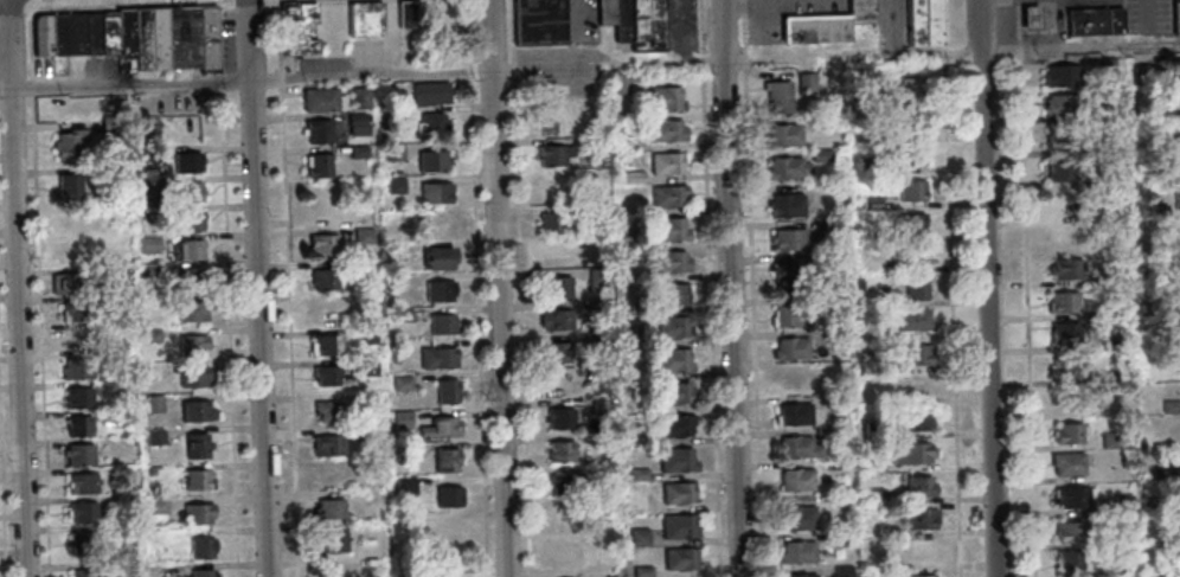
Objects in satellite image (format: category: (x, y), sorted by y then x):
road: (149, 4)
road: (743, 7)
road: (11, 8)
building: (604, 12)
building: (404, 15)
building: (1176, 17)
building: (1030, 19)
building: (365, 20)
building: (538, 21)
building: (621, 21)
building: (923, 21)
road: (944, 21)
building: (1094, 23)
building: (644, 25)
building: (826, 26)
park: (332, 27)
road: (701, 27)
building: (296, 28)
building: (97, 32)
building: (122, 32)
road: (744, 32)
building: (56, 33)
building: (72, 33)
building: (39, 34)
building: (179, 34)
building: (147, 37)
building: (205, 39)
road: (28, 43)
road: (1080, 47)
road: (945, 51)
road: (842, 56)
road: (745, 58)
road: (704, 60)
road: (596, 64)
building: (1175, 69)
building: (1141, 73)
building: (1060, 76)
road: (244, 78)
building: (806, 83)
building: (621, 85)
road: (30, 86)
building: (906, 92)
building: (429, 94)
building: (862, 95)
building: (778, 98)
building: (358, 100)
building: (180, 101)
building: (319, 101)
building: (663, 101)
building: (140, 103)
building: (1059, 105)
building: (1152, 111)
building: (355, 118)
building: (551, 122)
building: (108, 124)
building: (909, 124)
building: (434, 127)
building: (190, 132)
building: (358, 132)
building: (666, 132)
building: (318, 133)
building: (1179, 133)
building: (784, 136)
building: (1062, 137)
building: (591, 143)
building: (64, 145)
building: (1095, 146)
building: (355, 153)
building: (392, 153)
building: (143, 154)
building: (820, 155)
building: (553, 156)
building: (908, 158)
building: (186, 162)
building: (431, 162)
building: (666, 164)
building: (867, 166)
building: (318, 168)
building: (785, 168)
building: (108, 169)
building: (1059, 171)
building: (146, 185)
building: (68, 186)
building: (393, 186)
building: (554, 188)
building: (910, 191)
building: (187, 192)
building: (434, 194)
building: (667, 197)
building: (1176, 198)
building: (325, 203)
building: (870, 203)
building: (1066, 204)
building: (785, 206)
building: (590, 210)
building: (1156, 211)
building: (187, 219)
building: (910, 224)
building: (438, 225)
building: (554, 225)
building: (832, 229)
building: (667, 230)
building: (361, 237)
building: (595, 241)
building: (791, 241)
building: (628, 242)
building: (147, 244)
building: (113, 245)
building: (322, 246)
building: (188, 249)
building: (73, 254)
building: (554, 255)
building: (437, 261)
building: (667, 262)
building: (1064, 269)
building: (146, 270)
building: (188, 277)
building: (596, 277)
building: (1104, 277)
building: (784, 278)
building: (322, 280)
building: (69, 283)
road: (15, 288)
road: (256, 288)
road: (286, 288)
road: (475, 288)
road: (496, 288)
road: (519, 288)
building: (554, 288)
road: (729, 288)
building: (913, 288)
road: (988, 288)
road: (1026, 288)
building: (438, 291)
building: (1176, 295)
building: (669, 296)
building: (874, 297)
building: (114, 301)
building: (822, 302)
building: (1063, 303)
building: (188, 309)
building: (76, 310)
building: (597, 310)
building: (400, 315)
building: (789, 316)
road: (951, 318)
building: (912, 320)
building: (554, 321)
road: (712, 322)
road: (753, 322)
building: (441, 325)
building: (672, 328)
road: (226, 333)
building: (1064, 333)
building: (366, 334)
building: (876, 334)
building: (149, 335)
road: (38, 336)
building: (633, 336)
building: (832, 338)
building: (78, 340)
building: (598, 340)
building: (1110, 341)
building: (325, 344)
building: (190, 345)
building: (790, 350)
building: (556, 353)
building: (916, 354)
building: (436, 357)
building: (1179, 358)
building: (672, 363)
building: (877, 366)
building: (365, 367)
building: (73, 368)
building: (1062, 368)
building: (149, 370)
building: (1108, 374)
building: (191, 376)
building: (328, 376)
building: (793, 380)
building: (400, 383)
building: (559, 385)
building: (918, 386)
building: (445, 390)
building: (674, 395)
building: (78, 397)
building: (1063, 400)
building: (150, 403)
building: (1169, 406)
building: (599, 408)
building: (326, 410)
building: (194, 411)
building: (794, 415)
building: (399, 418)
building: (559, 419)
building: (912, 422)
building: (77, 425)
building: (438, 427)
building: (674, 427)
building: (872, 429)
building: (360, 432)
building: (822, 434)
building: (1067, 434)
building: (153, 437)
building: (1110, 440)
building: (326, 444)
building: (194, 445)
building: (797, 448)
building: (76, 453)
building: (559, 453)
building: (911, 454)
building: (443, 459)
building: (675, 461)
building: (1066, 464)
building: (873, 466)
building: (1163, 473)
building: (328, 474)
building: (636, 475)
building: (194, 479)
building: (795, 480)
building: (82, 482)
building: (564, 483)
building: (404, 485)
building: (918, 488)
building: (1179, 492)
building: (447, 494)
building: (873, 494)
building: (676, 495)
building: (1071, 498)
building: (839, 499)
building: (120, 502)
building: (1121, 504)
building: (155, 506)
building: (327, 508)
building: (83, 512)
building: (195, 513)
building: (567, 515)
building: (795, 519)
building: (916, 519)
building: (676, 528)
building: (1067, 532)
building: (636, 538)
building: (1173, 538)
building: (840, 539)
building: (1127, 539)
building: (329, 540)
building: (79, 543)
building: (199, 547)
building: (796, 552)
building: (917, 553)
building: (564, 557)
building: (678, 559)
building: (1067, 564)
building: (334, 570)
building: (641, 571)
building: (841, 571)
building: (1123, 571)
building: (1174, 571)
building: (84, 572)
building: (200, 572)
building: (800, 576)
building: (922, 576)

